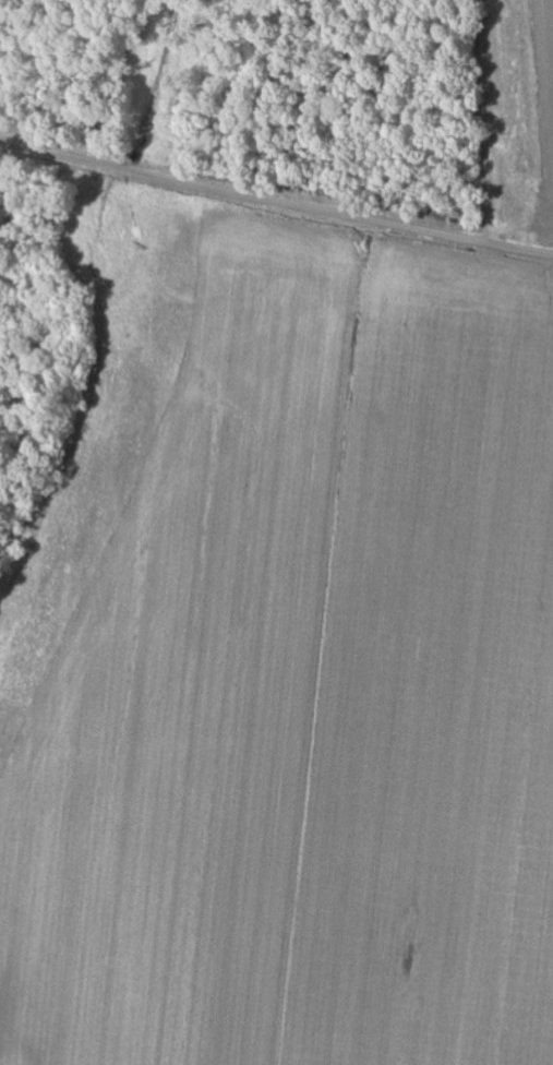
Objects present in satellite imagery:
road: (275, 202)

